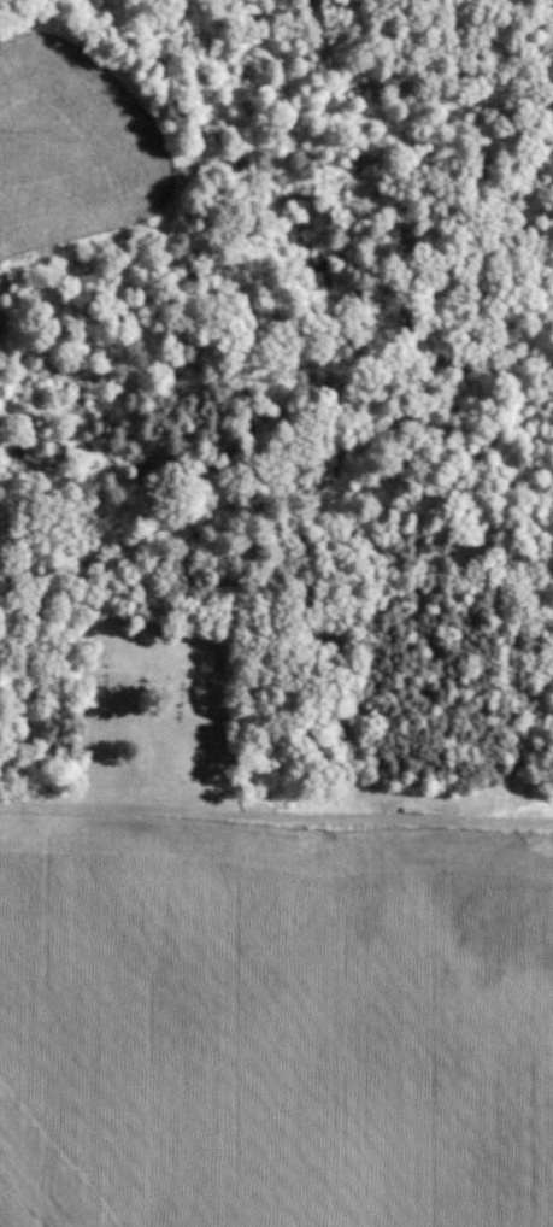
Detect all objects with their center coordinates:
park: (158, 715)

